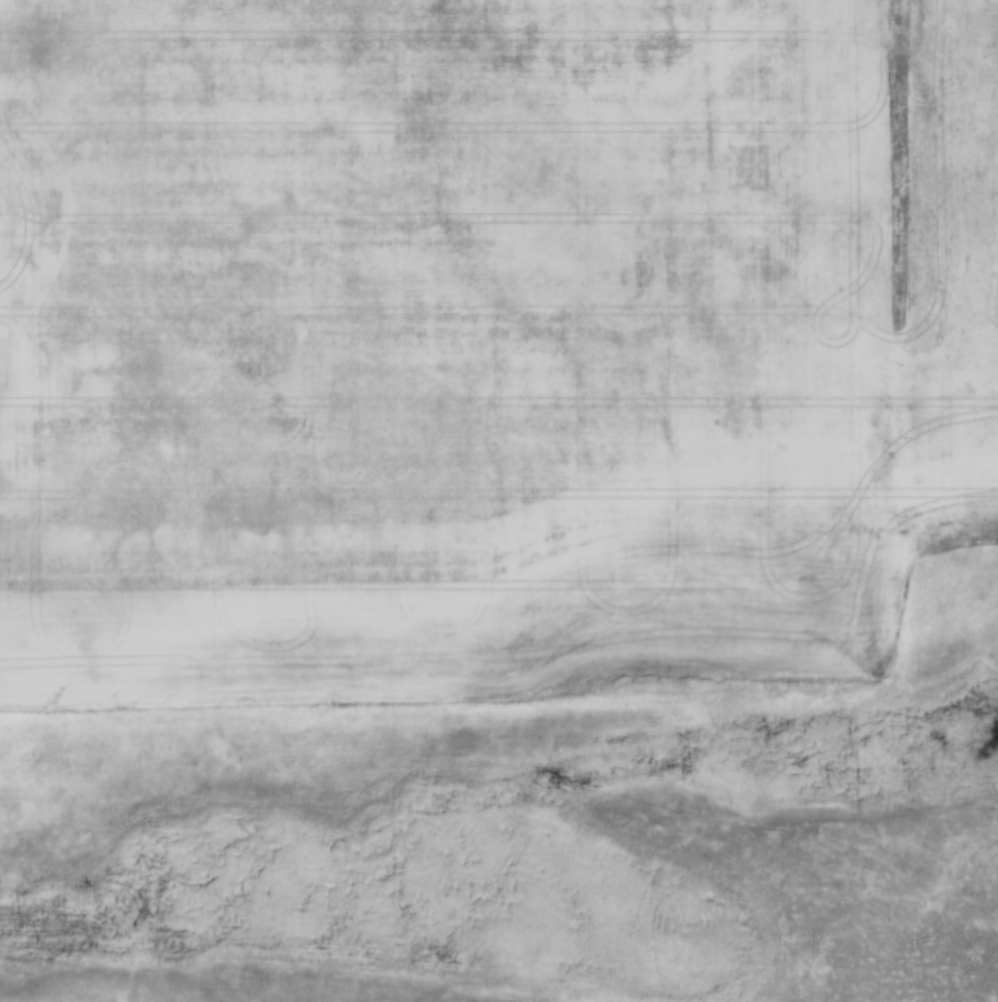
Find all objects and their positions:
crop: (442, 342)

